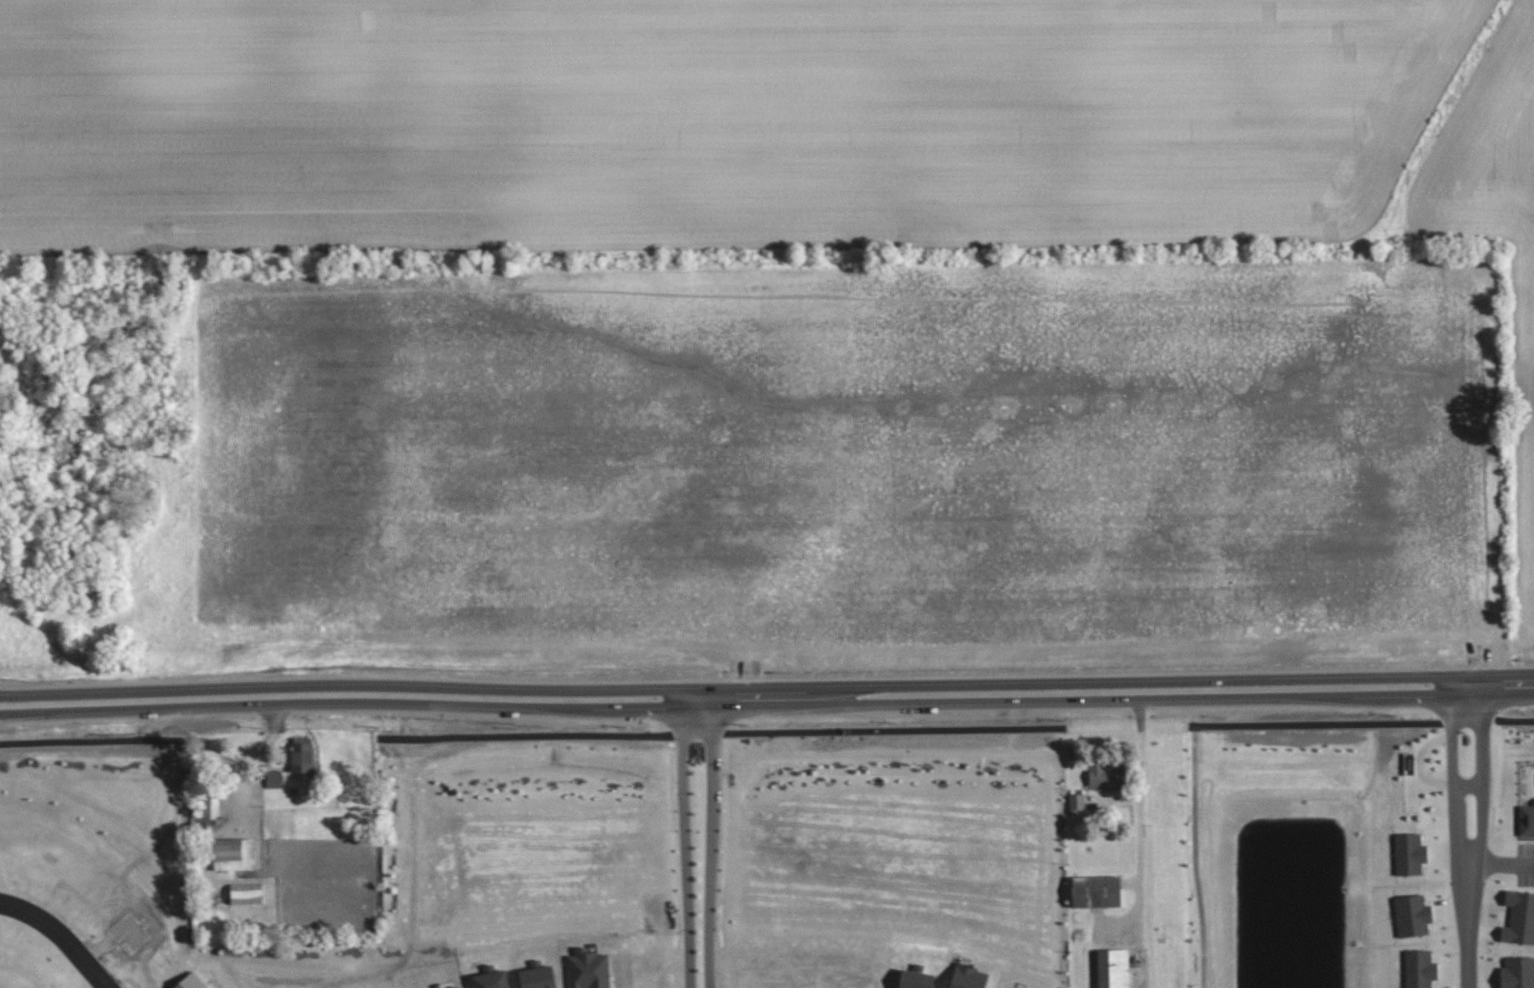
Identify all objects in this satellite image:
road: (783, 696)
road: (16, 704)
road: (16, 707)
road: (1364, 723)
road: (721, 733)
road: (90, 742)
road: (1143, 754)
building: (301, 757)
road: (681, 766)
building: (1106, 775)
building: (274, 778)
building: (1077, 802)
road: (1451, 807)
road: (1475, 807)
building: (1526, 819)
road: (711, 842)
building: (238, 853)
building: (1409, 853)
road: (1196, 857)
road: (1493, 861)
road: (1140, 885)
building: (1096, 891)
road: (688, 912)
building: (1412, 915)
building: (1519, 917)
road: (67, 932)
road: (1466, 959)
building: (1112, 968)
building: (1419, 968)
building: (1517, 972)
building: (538, 977)
building: (968, 977)
building: (916, 978)
building: (1004, 987)
building: (1024, 987)

